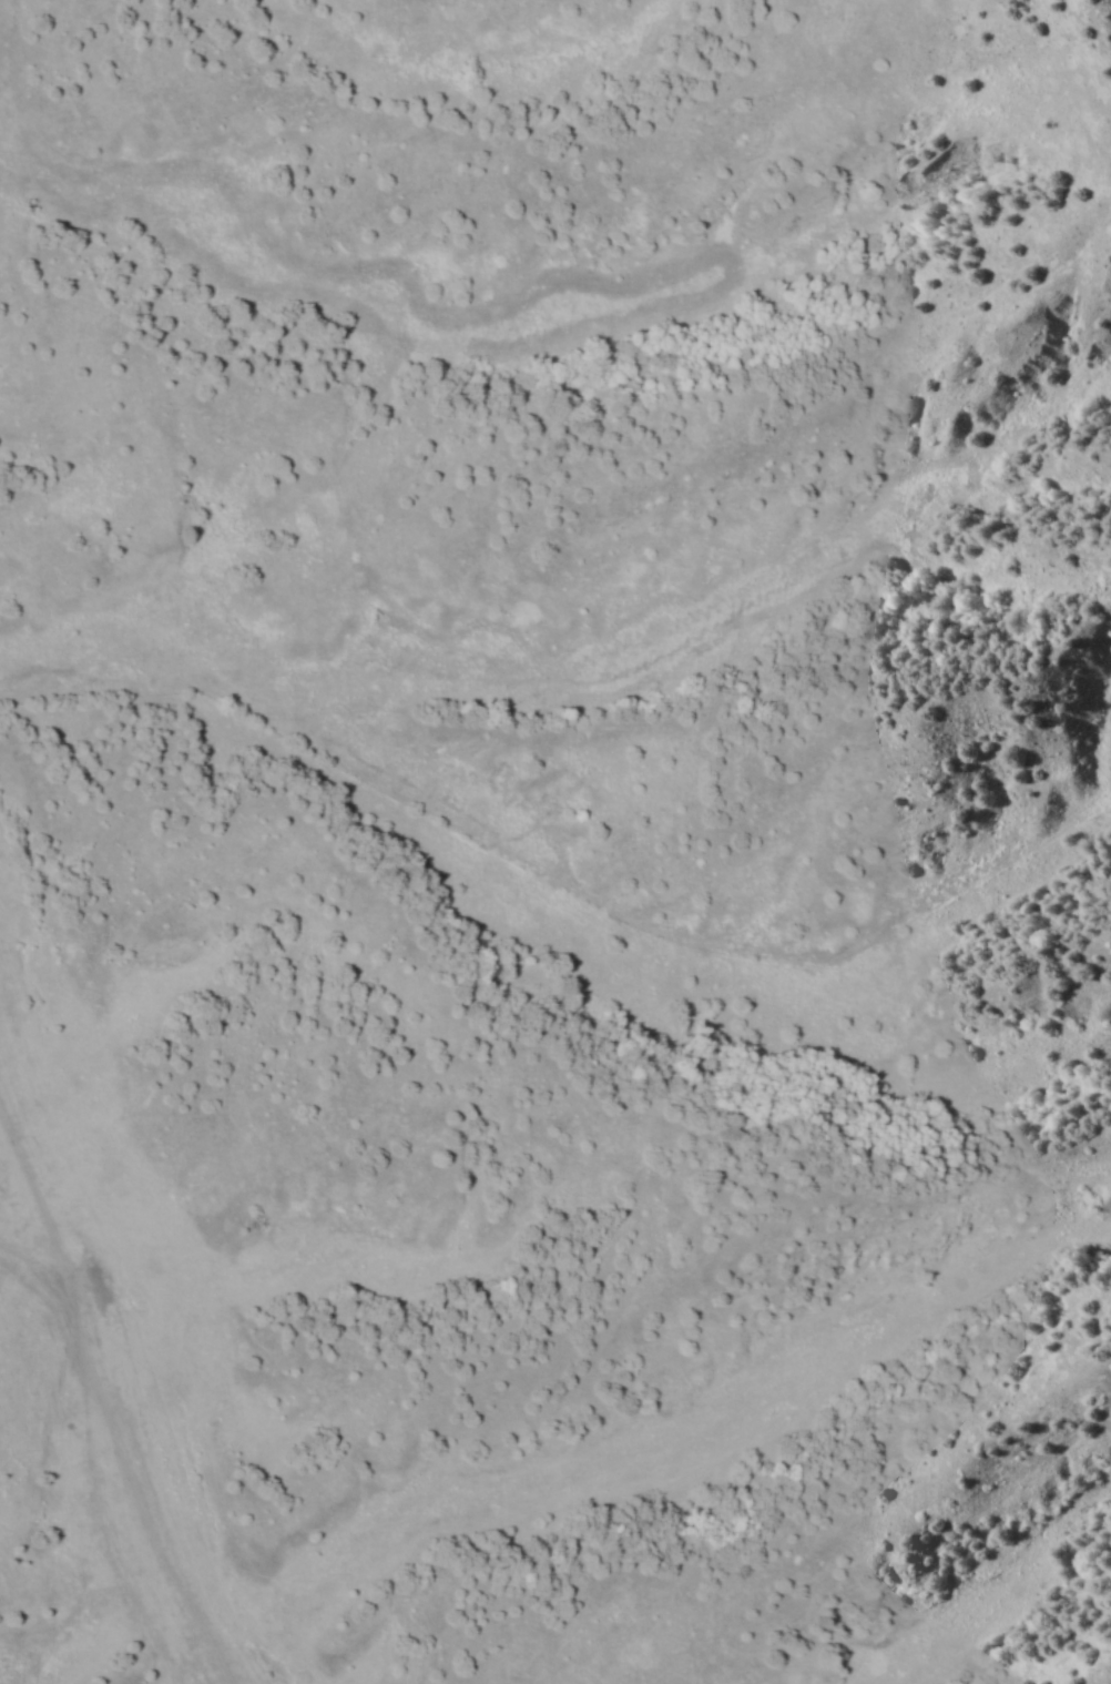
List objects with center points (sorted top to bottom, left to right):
road: (113, 1406)
road: (173, 1635)

